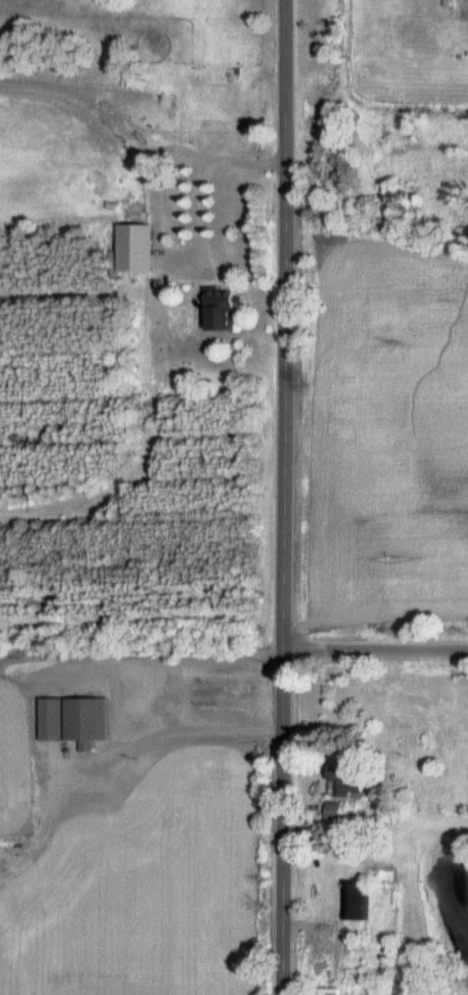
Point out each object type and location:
building: (205, 97)
road: (142, 200)
building: (216, 308)
road: (283, 497)
road: (375, 649)
building: (69, 719)
road: (189, 732)
building: (339, 782)
building: (329, 810)
building: (355, 901)
building: (319, 991)

